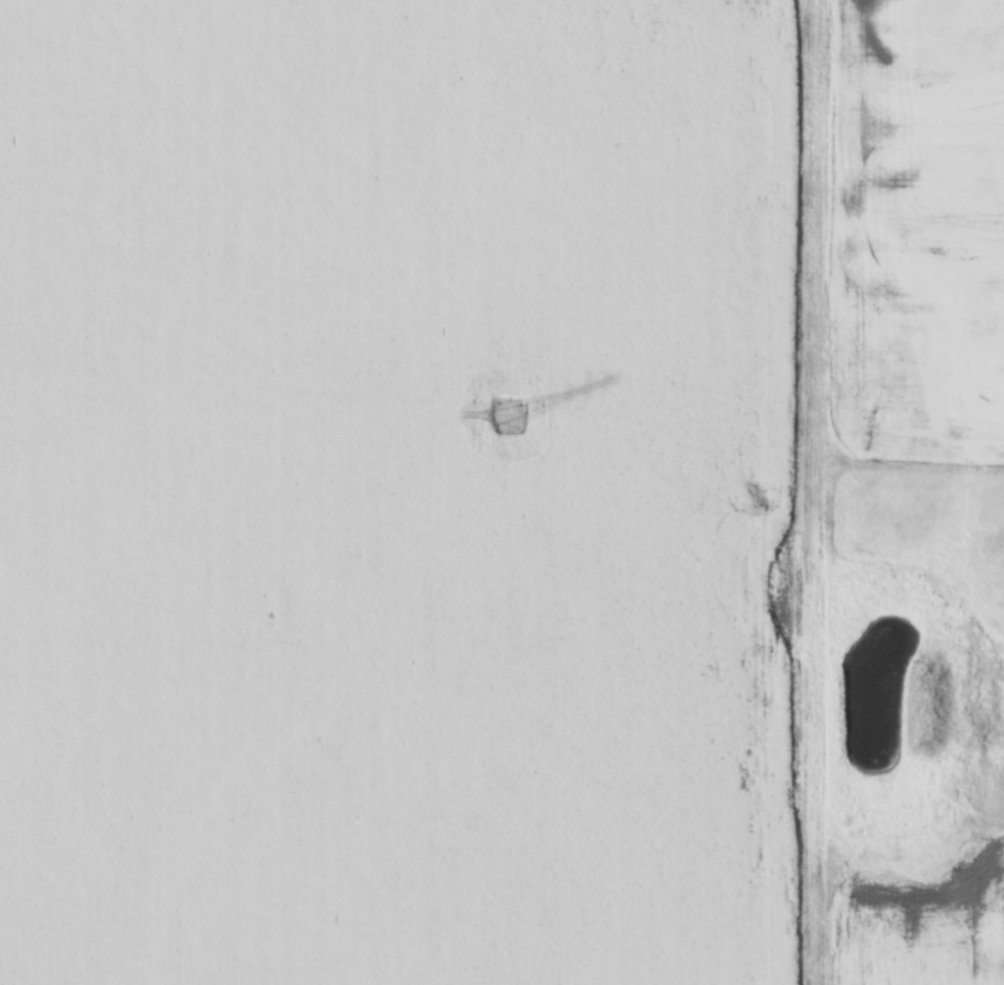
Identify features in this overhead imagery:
power tower: (509, 413)
road: (815, 492)

